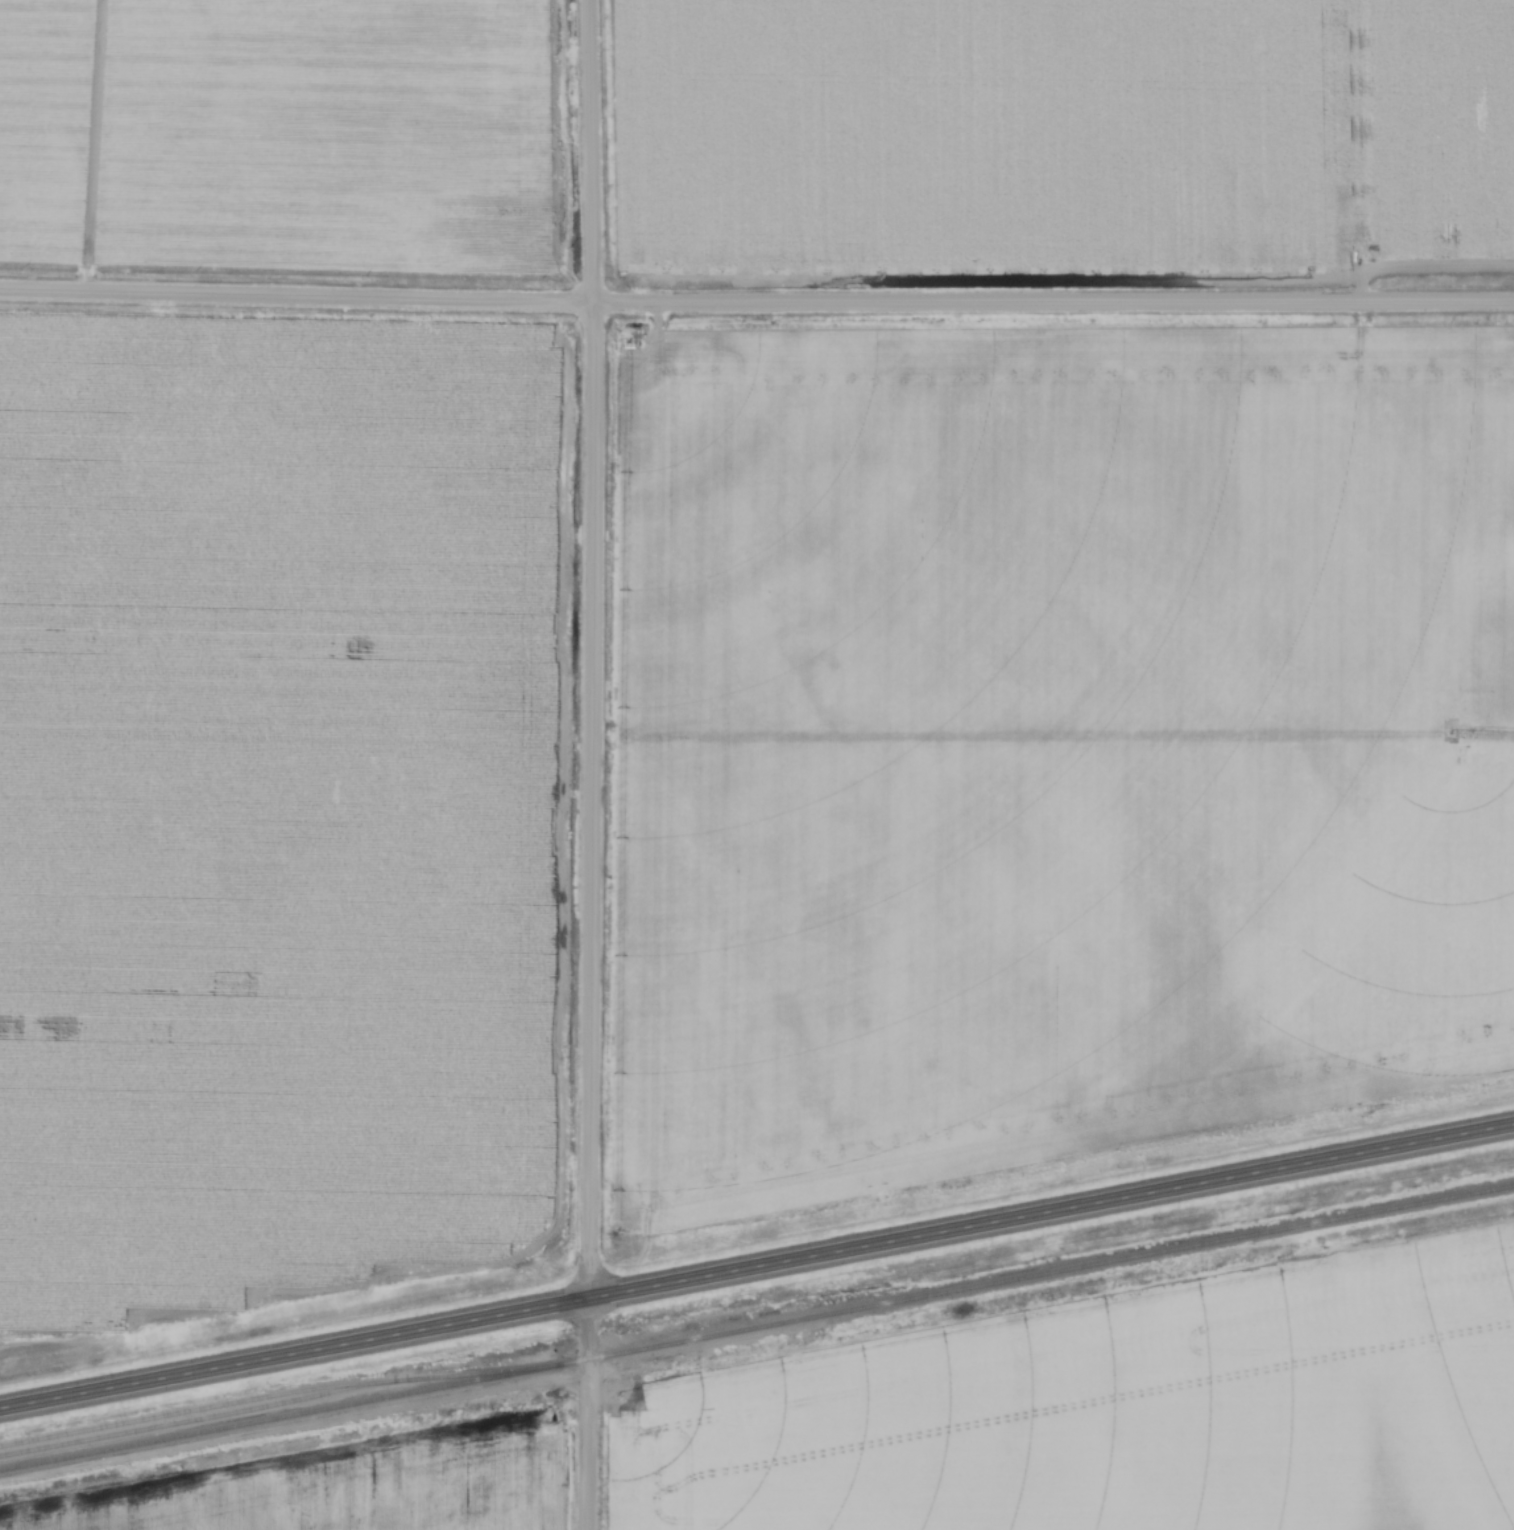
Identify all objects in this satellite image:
crop: (43, 126)
crop: (1060, 133)
crop: (335, 134)
road: (756, 303)
road: (590, 764)
crop: (275, 797)
road: (756, 1263)
railway: (757, 1324)
railway: (278, 1389)
crop: (1057, 1414)
railway: (198, 1417)
crop: (349, 1484)

